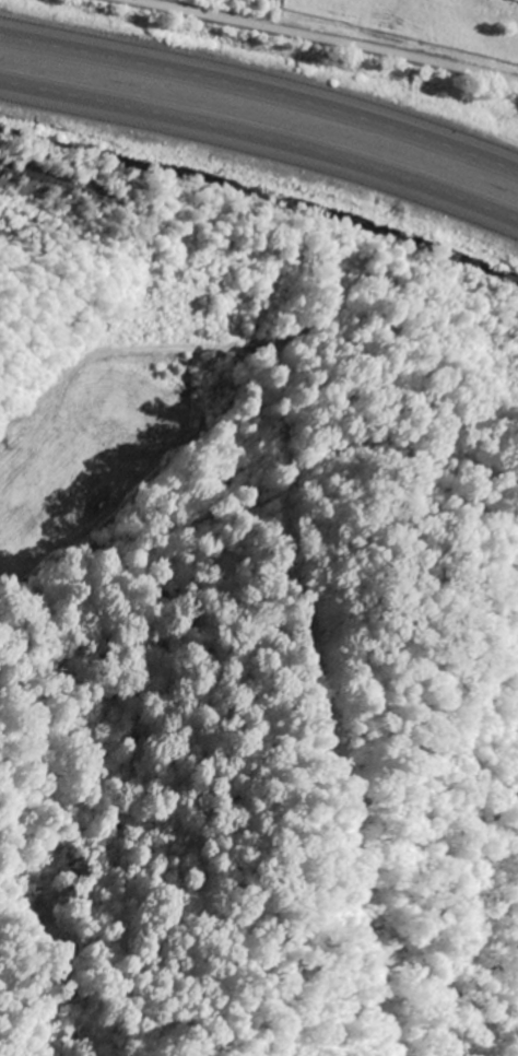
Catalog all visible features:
road: (332, 39)
road: (262, 97)
road: (262, 143)

